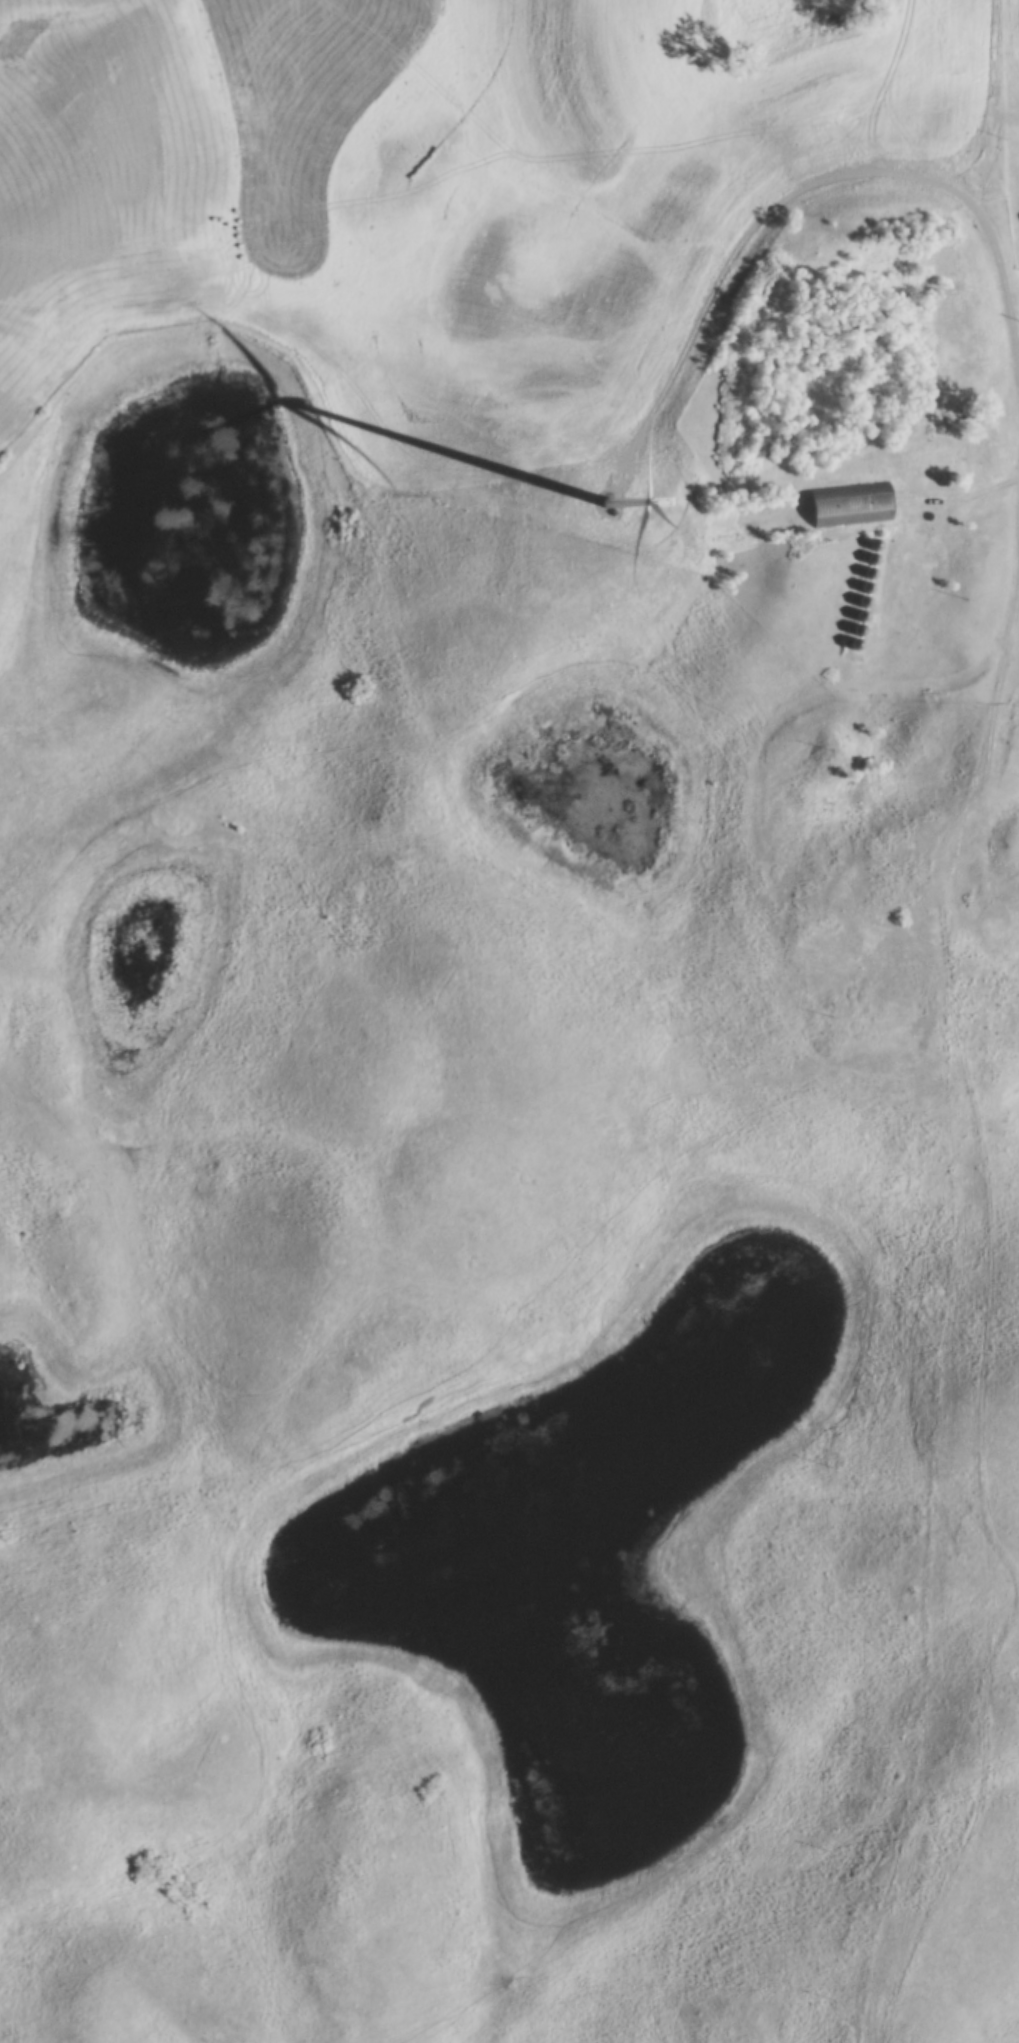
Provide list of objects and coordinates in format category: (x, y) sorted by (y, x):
road: (1002, 135)
road: (806, 178)
road: (972, 492)
wind turbine: (610, 506)
building: (847, 508)
building: (855, 647)

